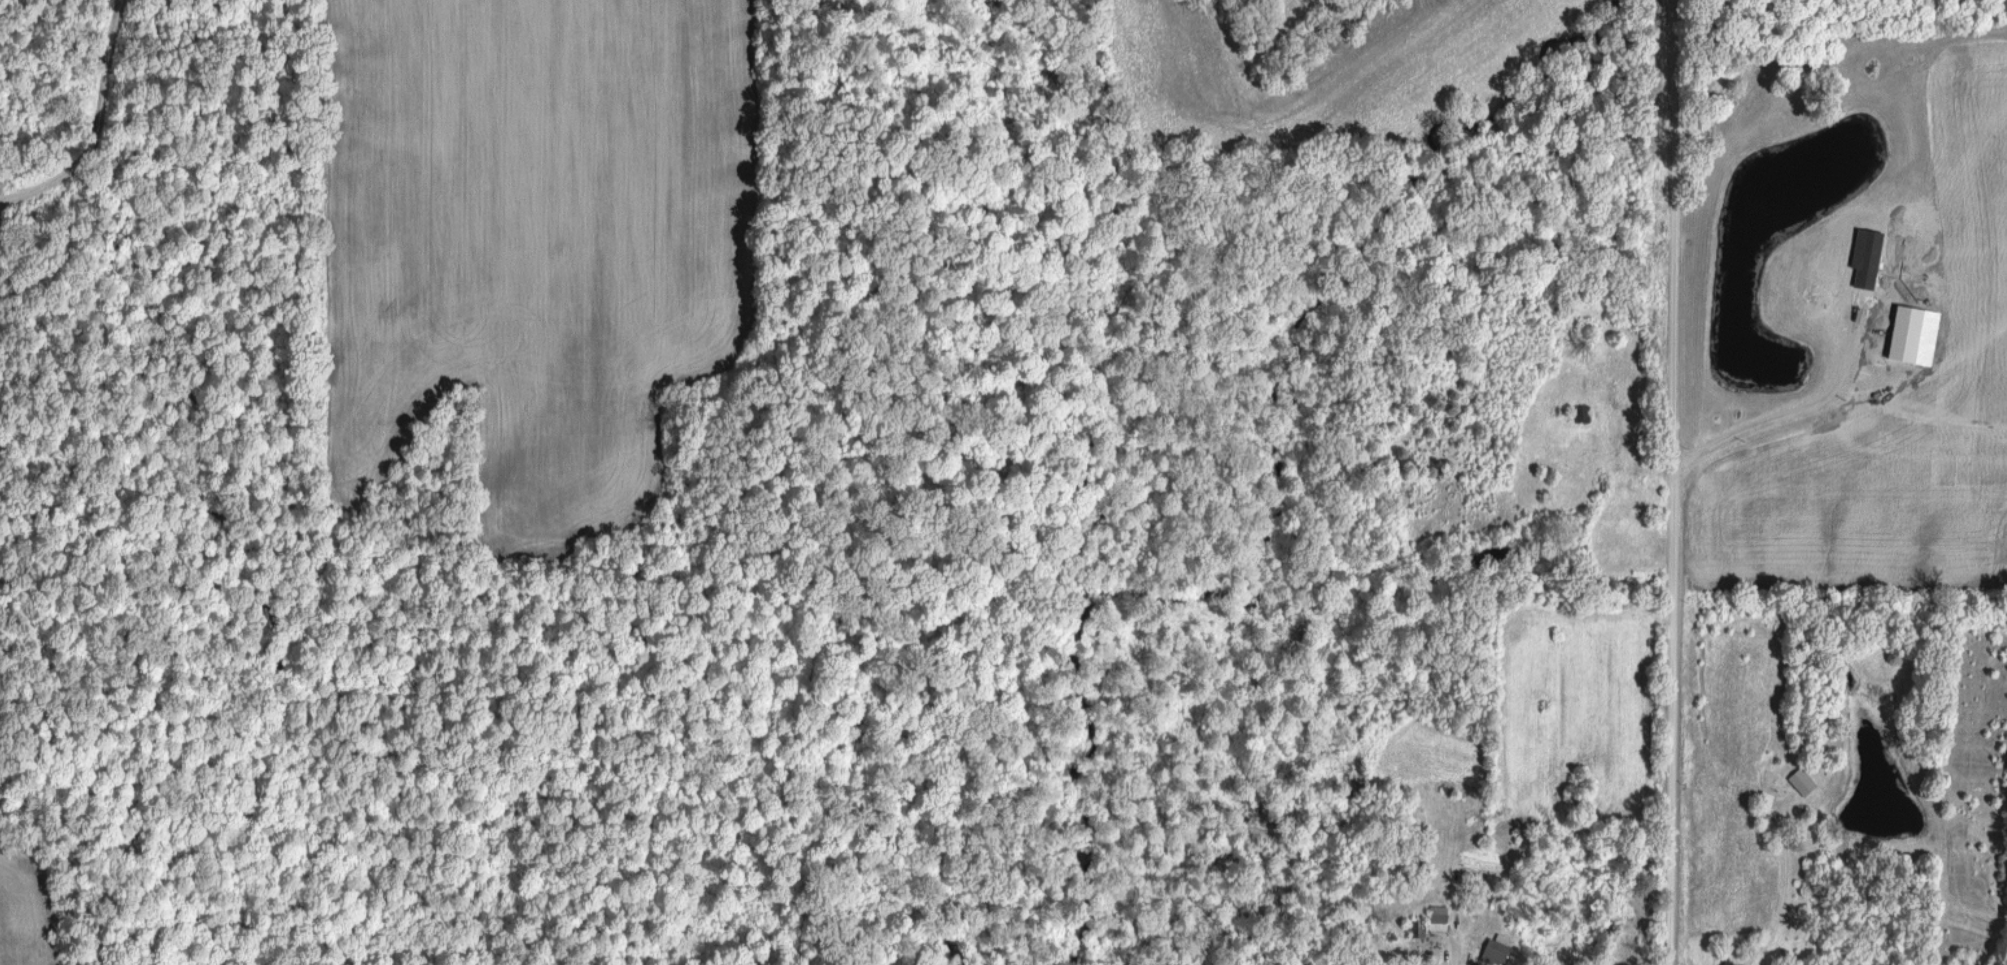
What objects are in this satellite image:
road: (1678, 482)
building: (1798, 779)

